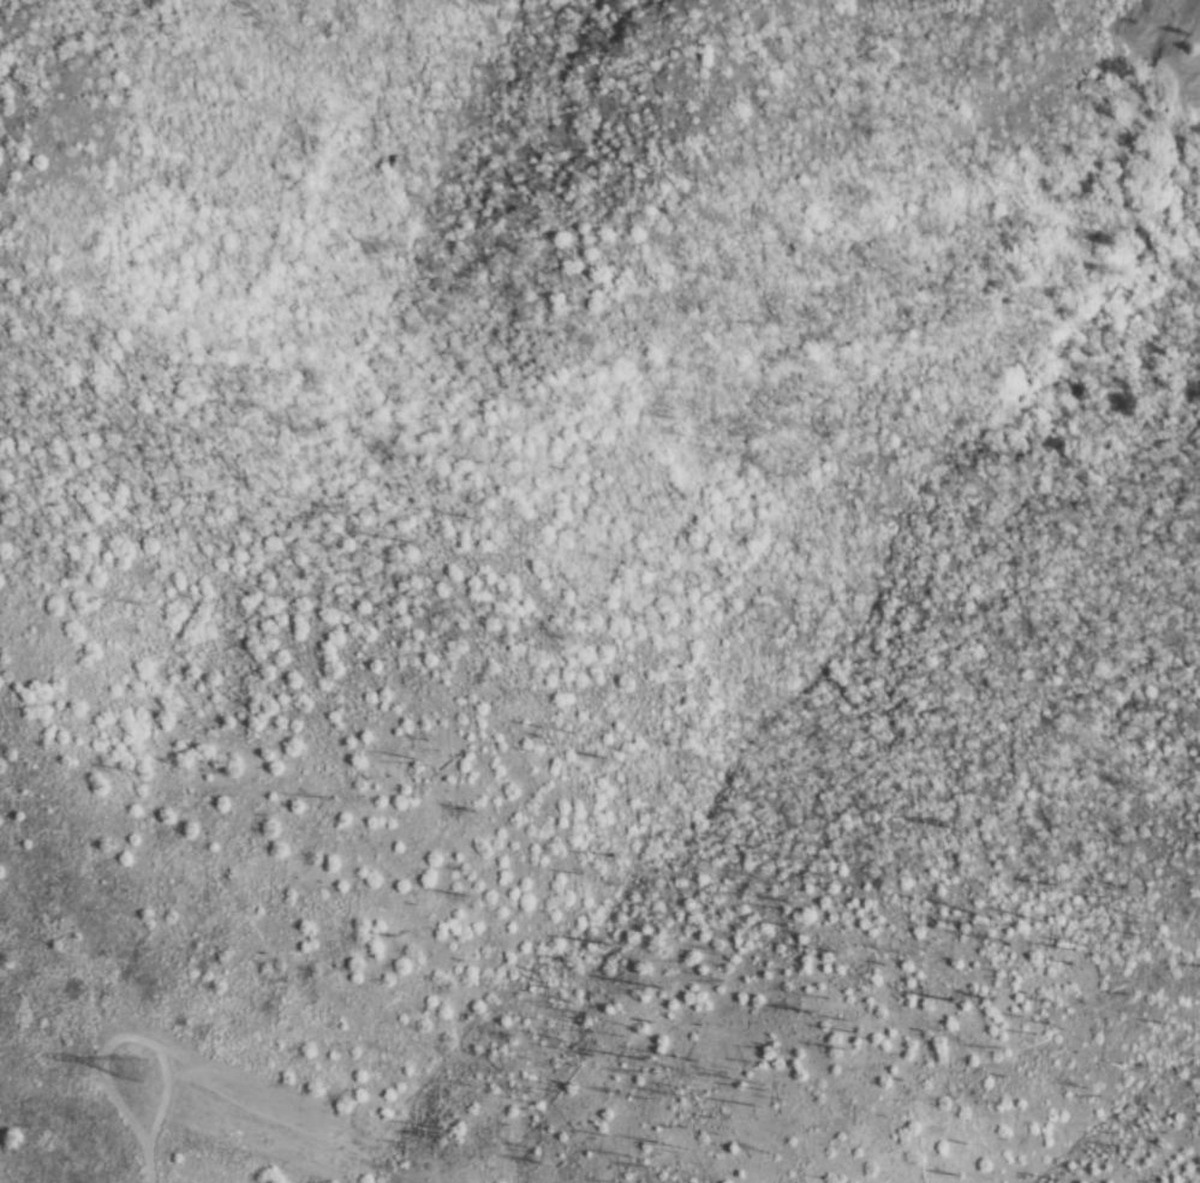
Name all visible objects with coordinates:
power tower: (135, 1068)
road: (169, 1081)
road: (150, 1165)

